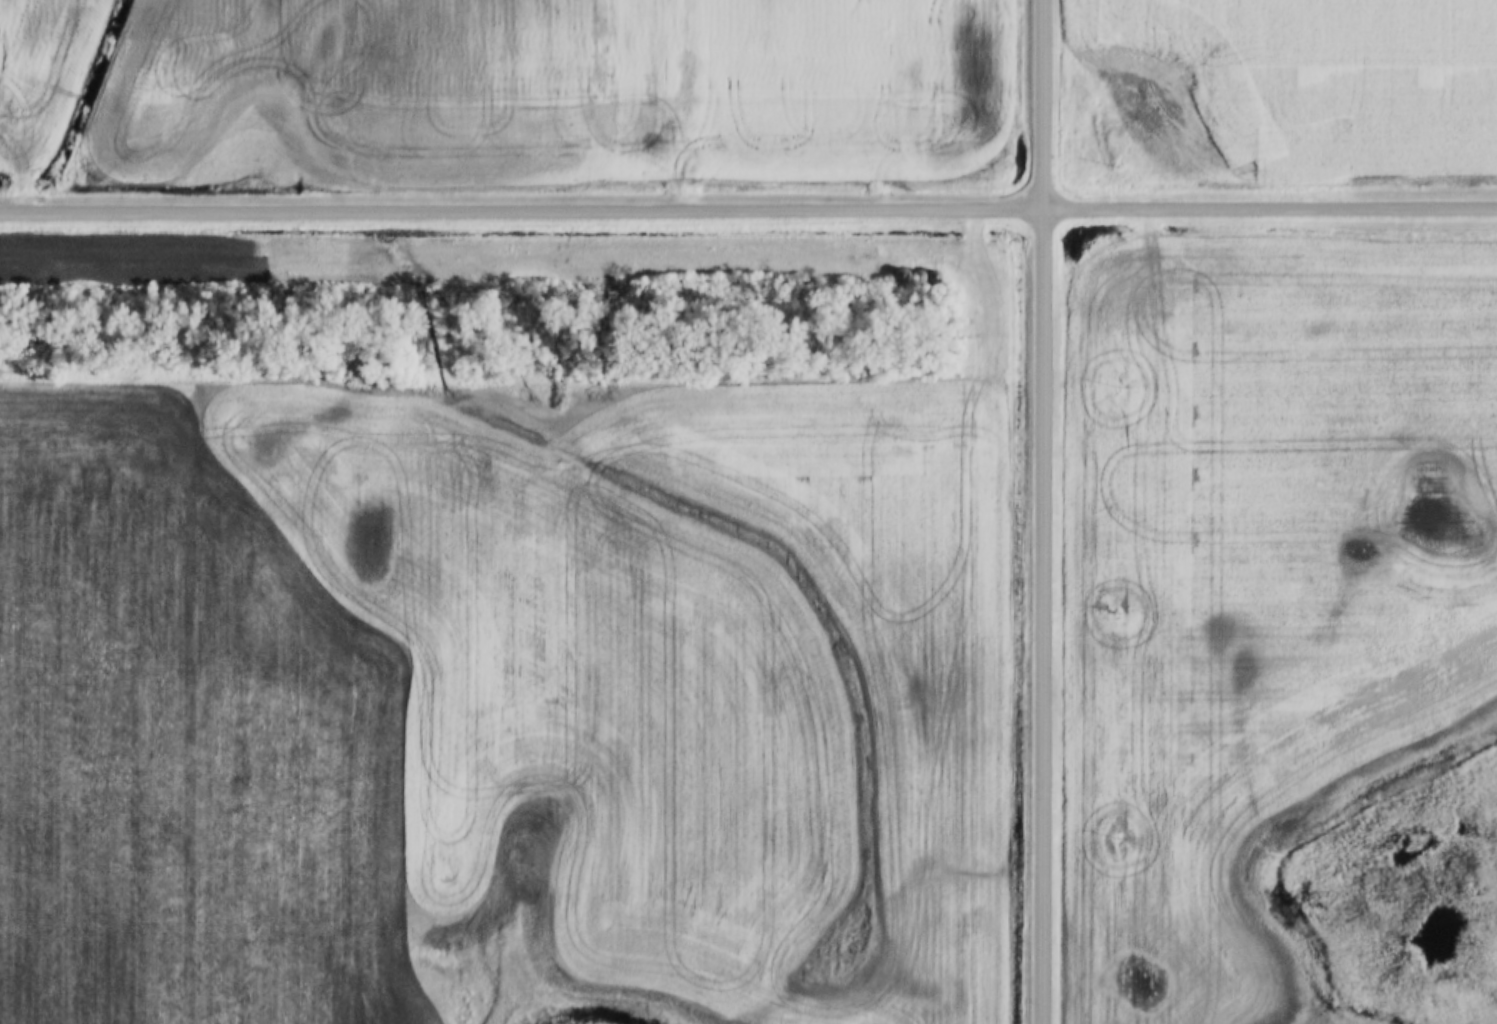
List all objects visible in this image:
road: (748, 210)
road: (1044, 511)

